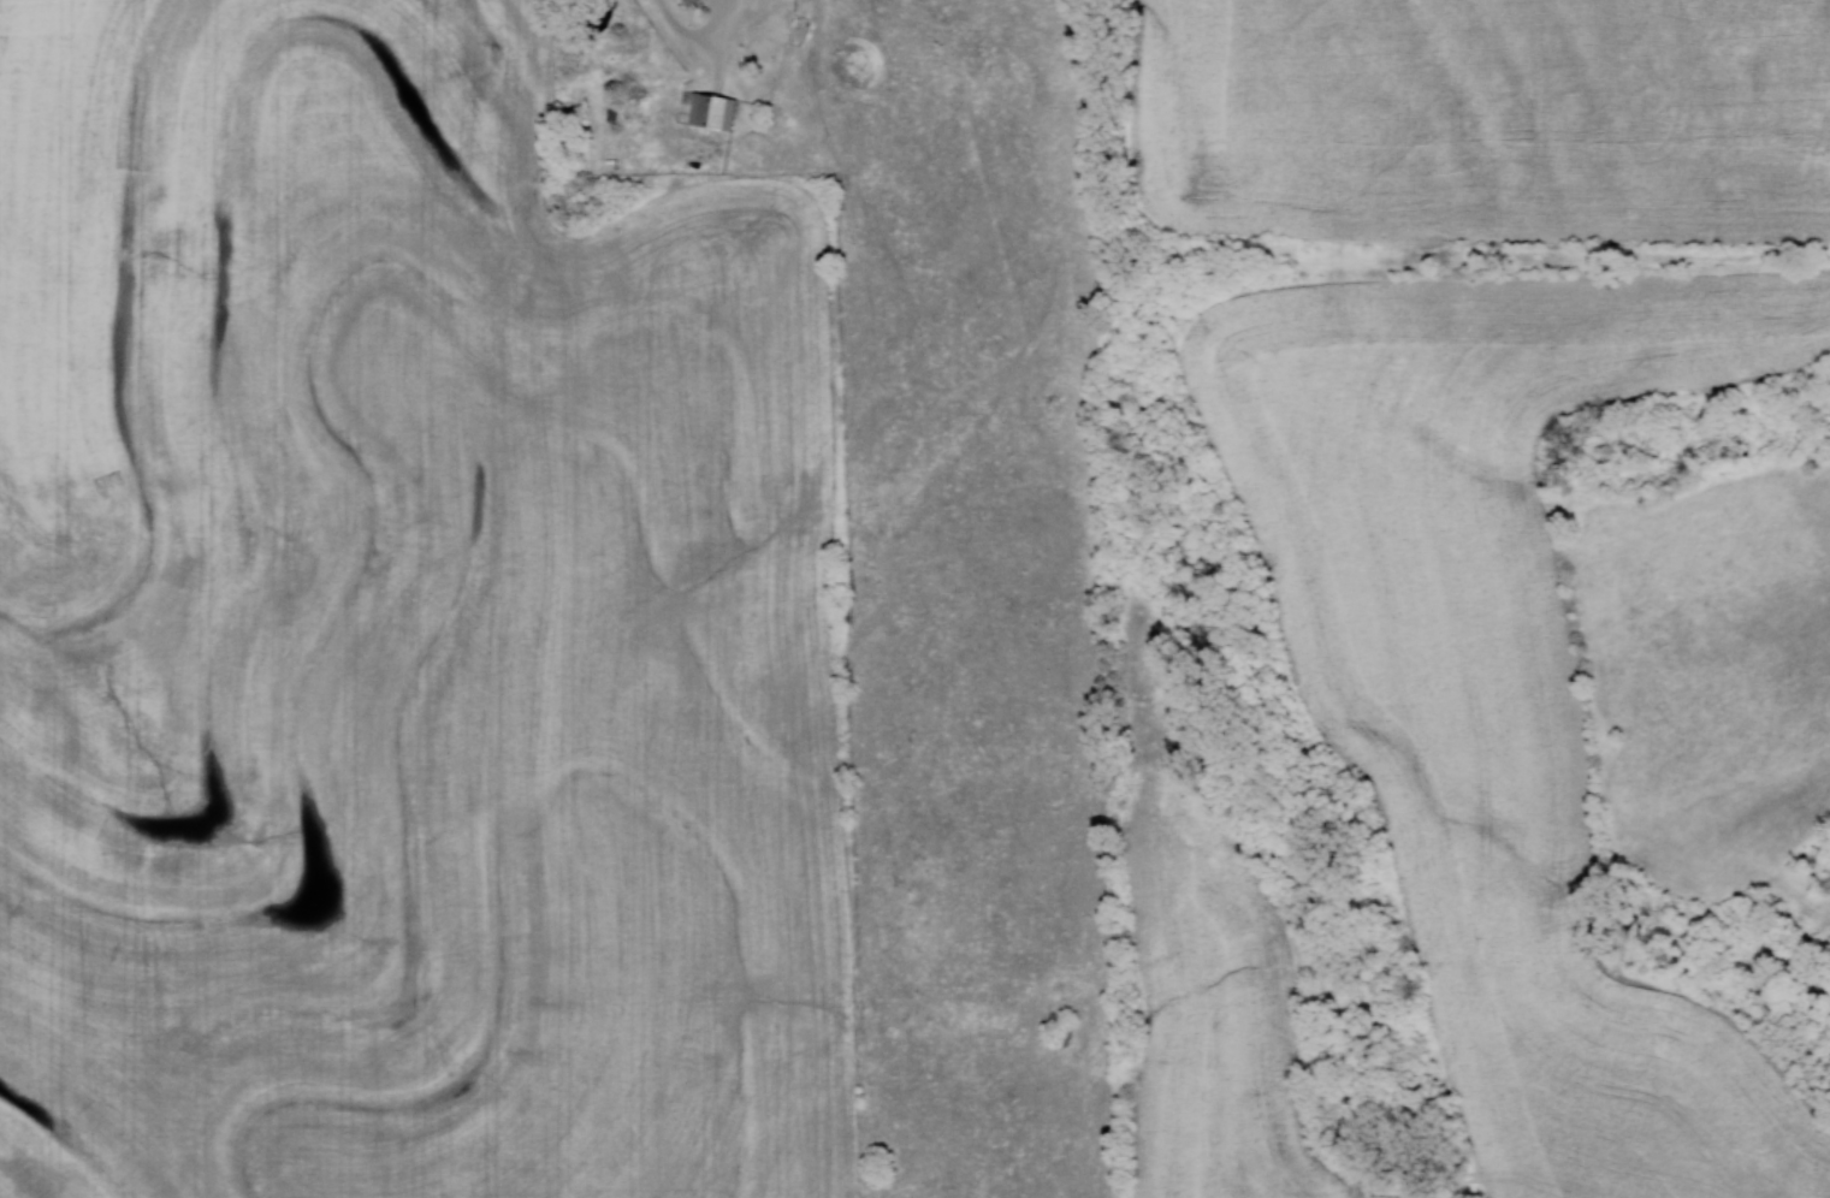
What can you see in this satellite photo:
building: (715, 112)

